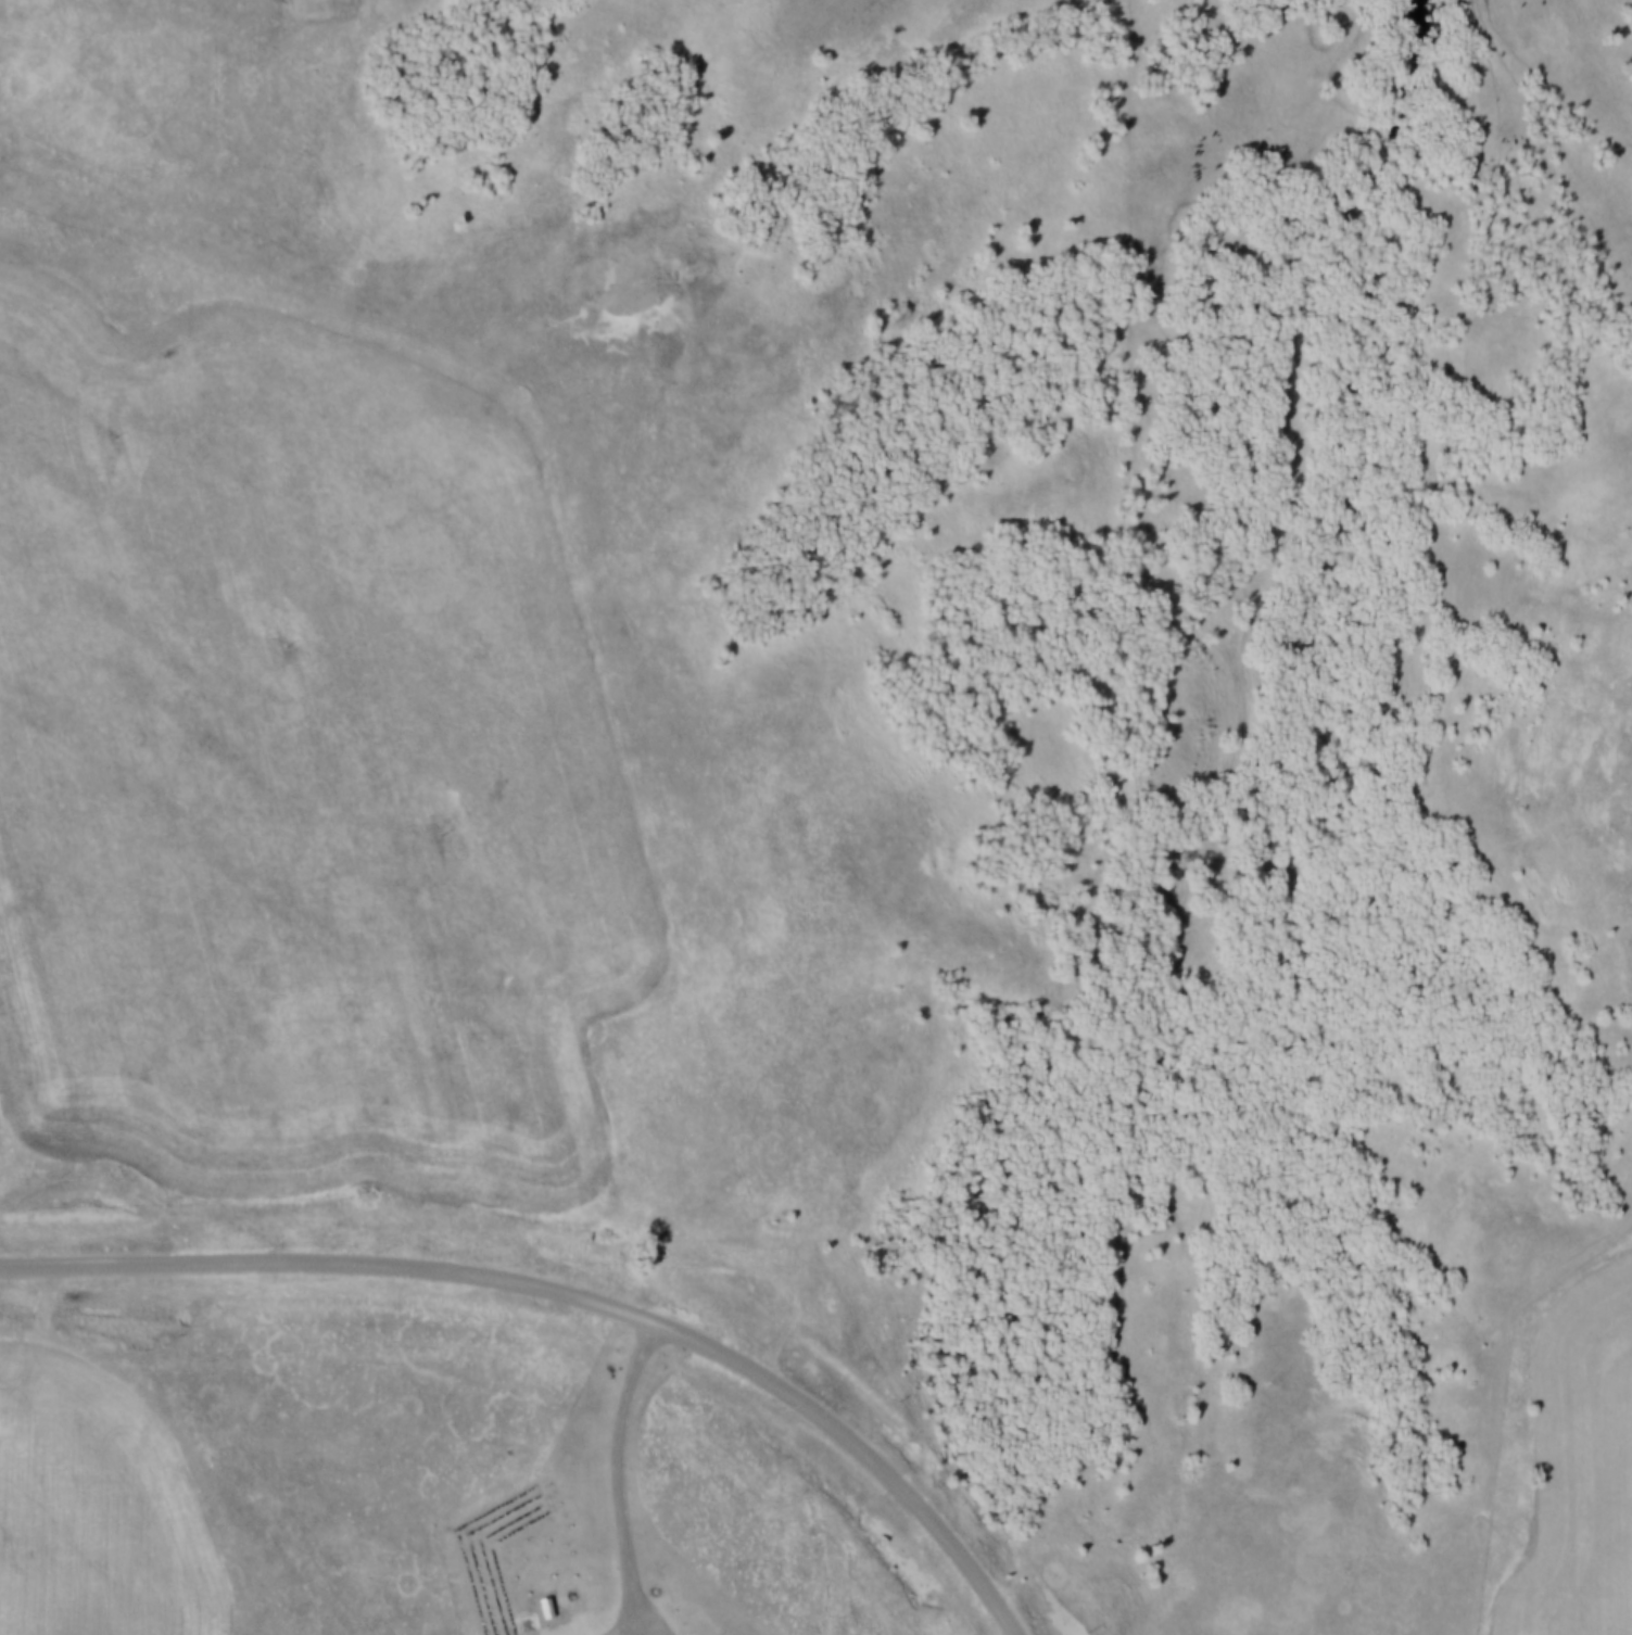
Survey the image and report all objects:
road: (572, 1295)

